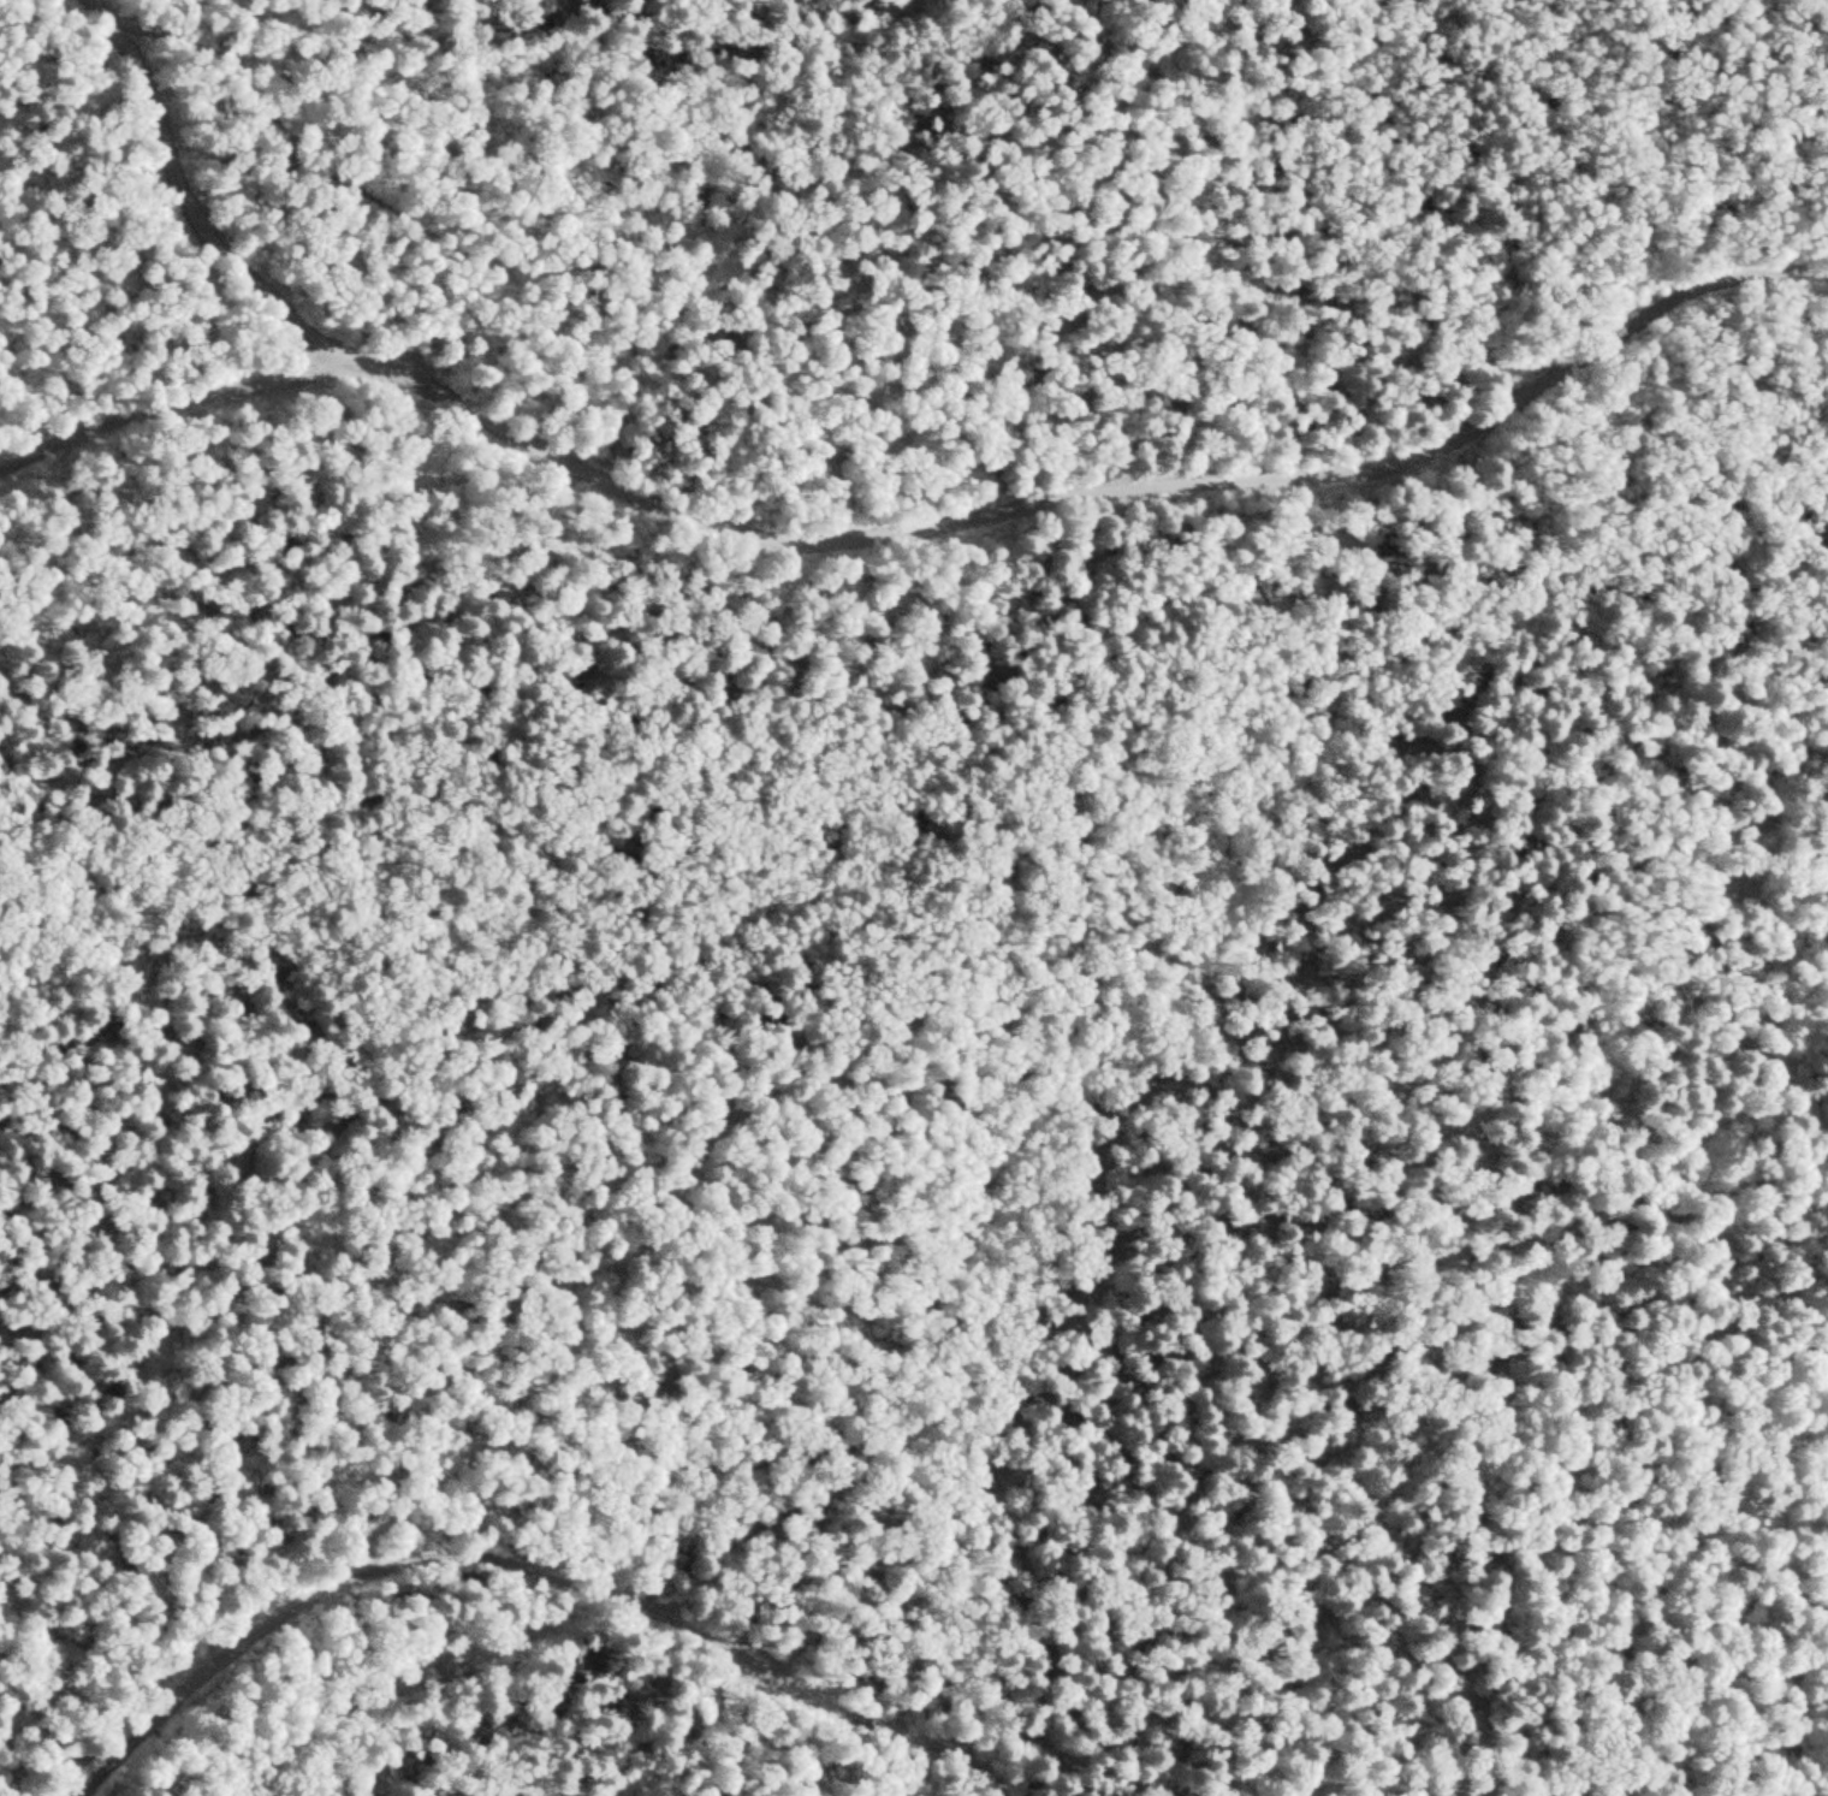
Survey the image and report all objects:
road: (914, 512)
road: (1333, 699)
road: (1779, 1689)

